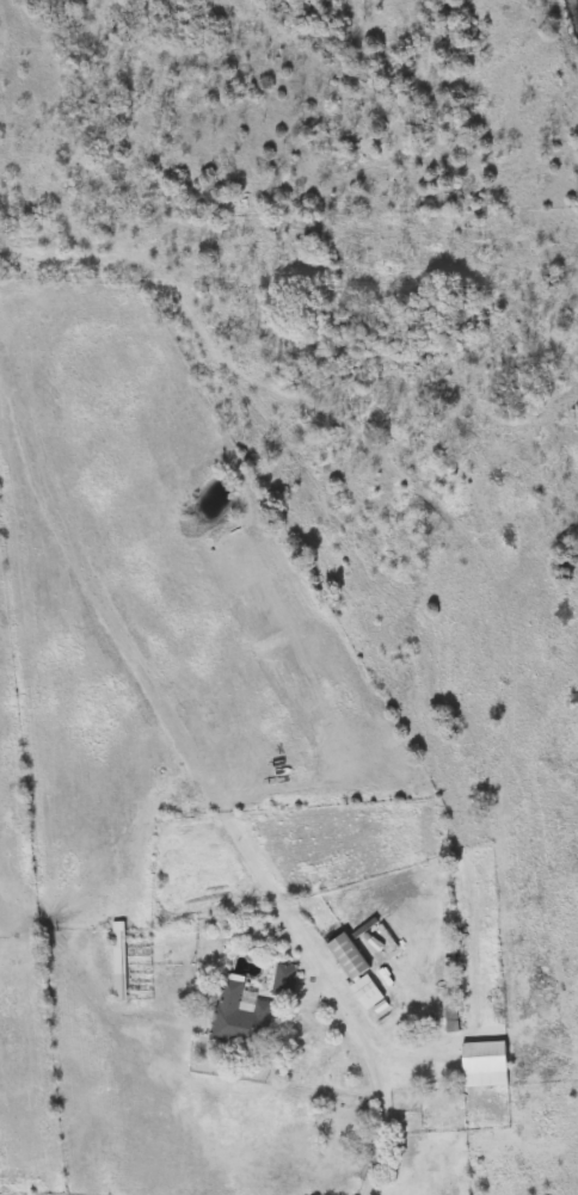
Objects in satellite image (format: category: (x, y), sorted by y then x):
building: (349, 955)
building: (118, 960)
building: (240, 1015)
building: (485, 1062)
road: (380, 1080)

